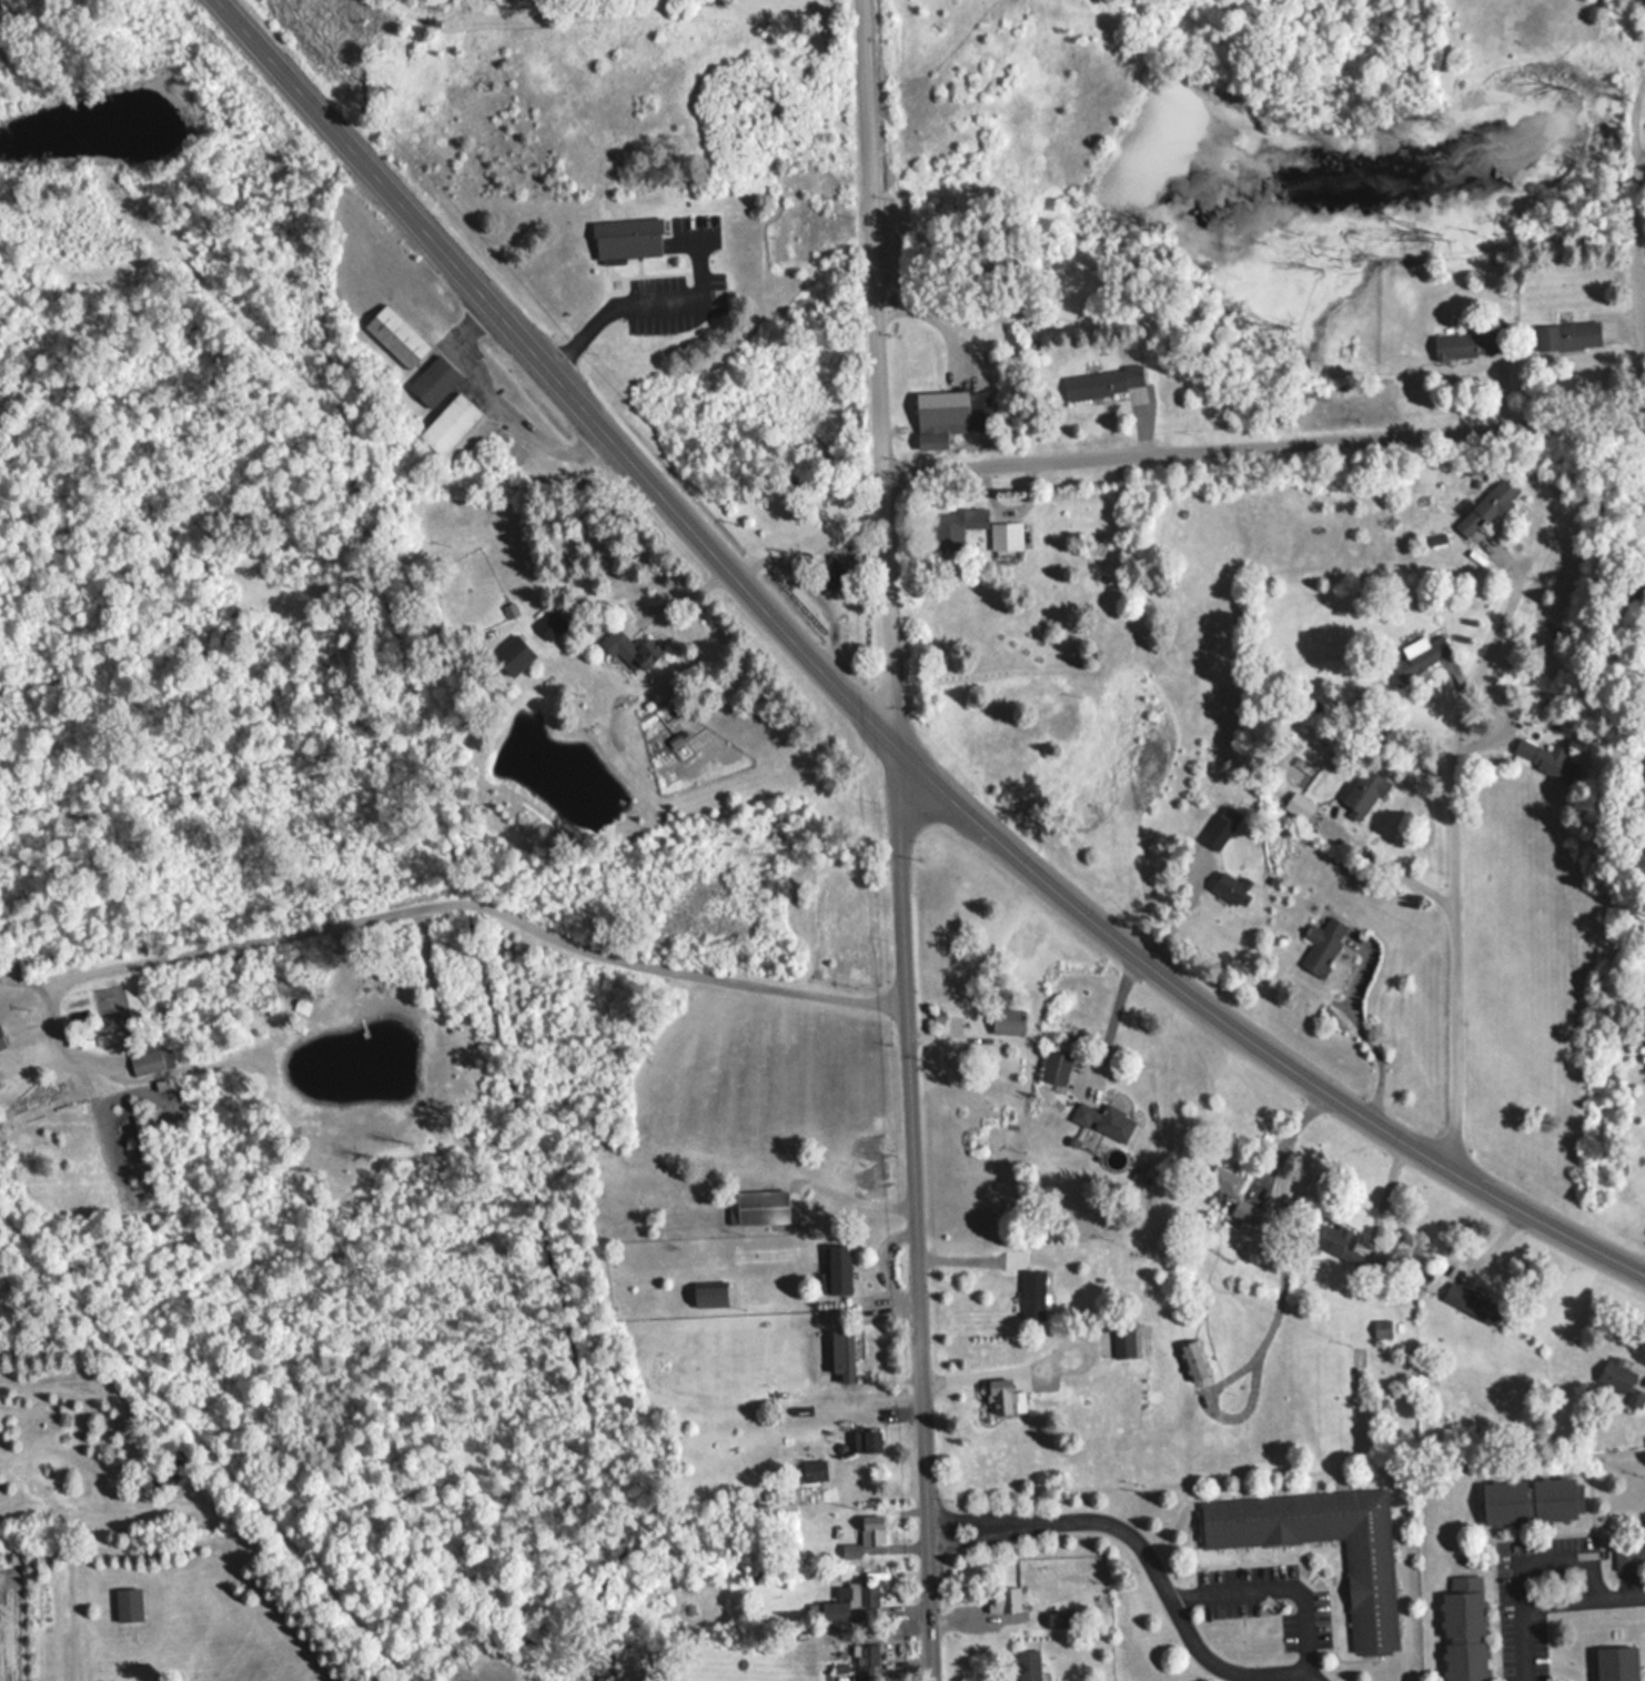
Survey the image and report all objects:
building: (626, 238)
road: (1637, 240)
road: (645, 299)
building: (1567, 335)
building: (396, 336)
building: (1466, 344)
road: (878, 372)
building: (433, 381)
building: (1104, 383)
road: (506, 404)
building: (950, 414)
building: (448, 424)
road: (1263, 439)
building: (1485, 507)
building: (956, 525)
building: (1005, 536)
building: (830, 570)
road: (805, 585)
road: (682, 598)
building: (549, 625)
building: (630, 651)
building: (512, 655)
building: (1419, 655)
road: (867, 714)
building: (1537, 757)
building: (1363, 789)
building: (1301, 807)
building: (1221, 826)
building: (1232, 887)
road: (467, 896)
road: (1454, 934)
building: (1321, 945)
road: (1104, 1015)
building: (1007, 1021)
building: (145, 1063)
building: (1057, 1068)
building: (1103, 1120)
building: (1223, 1178)
building: (757, 1206)
building: (1244, 1210)
road: (915, 1212)
road: (1368, 1224)
building: (1339, 1242)
road: (880, 1264)
building: (838, 1267)
building: (1032, 1292)
building: (709, 1294)
building: (1472, 1301)
road: (1270, 1305)
building: (1382, 1328)
building: (1123, 1339)
building: (841, 1351)
building: (1192, 1359)
road: (980, 1369)
building: (1619, 1381)
building: (1005, 1397)
building: (867, 1440)
road: (194, 1458)
building: (809, 1470)
building: (1531, 1499)
building: (1631, 1552)
road: (1147, 1557)
road: (1279, 1586)
building: (1006, 1597)
building: (849, 1599)
building: (1370, 1599)
road: (1583, 1599)
building: (128, 1603)
road: (1521, 1621)
building: (1463, 1629)
road: (73, 1639)
building: (867, 1661)
building: (1616, 1663)
building: (1027, 1664)

